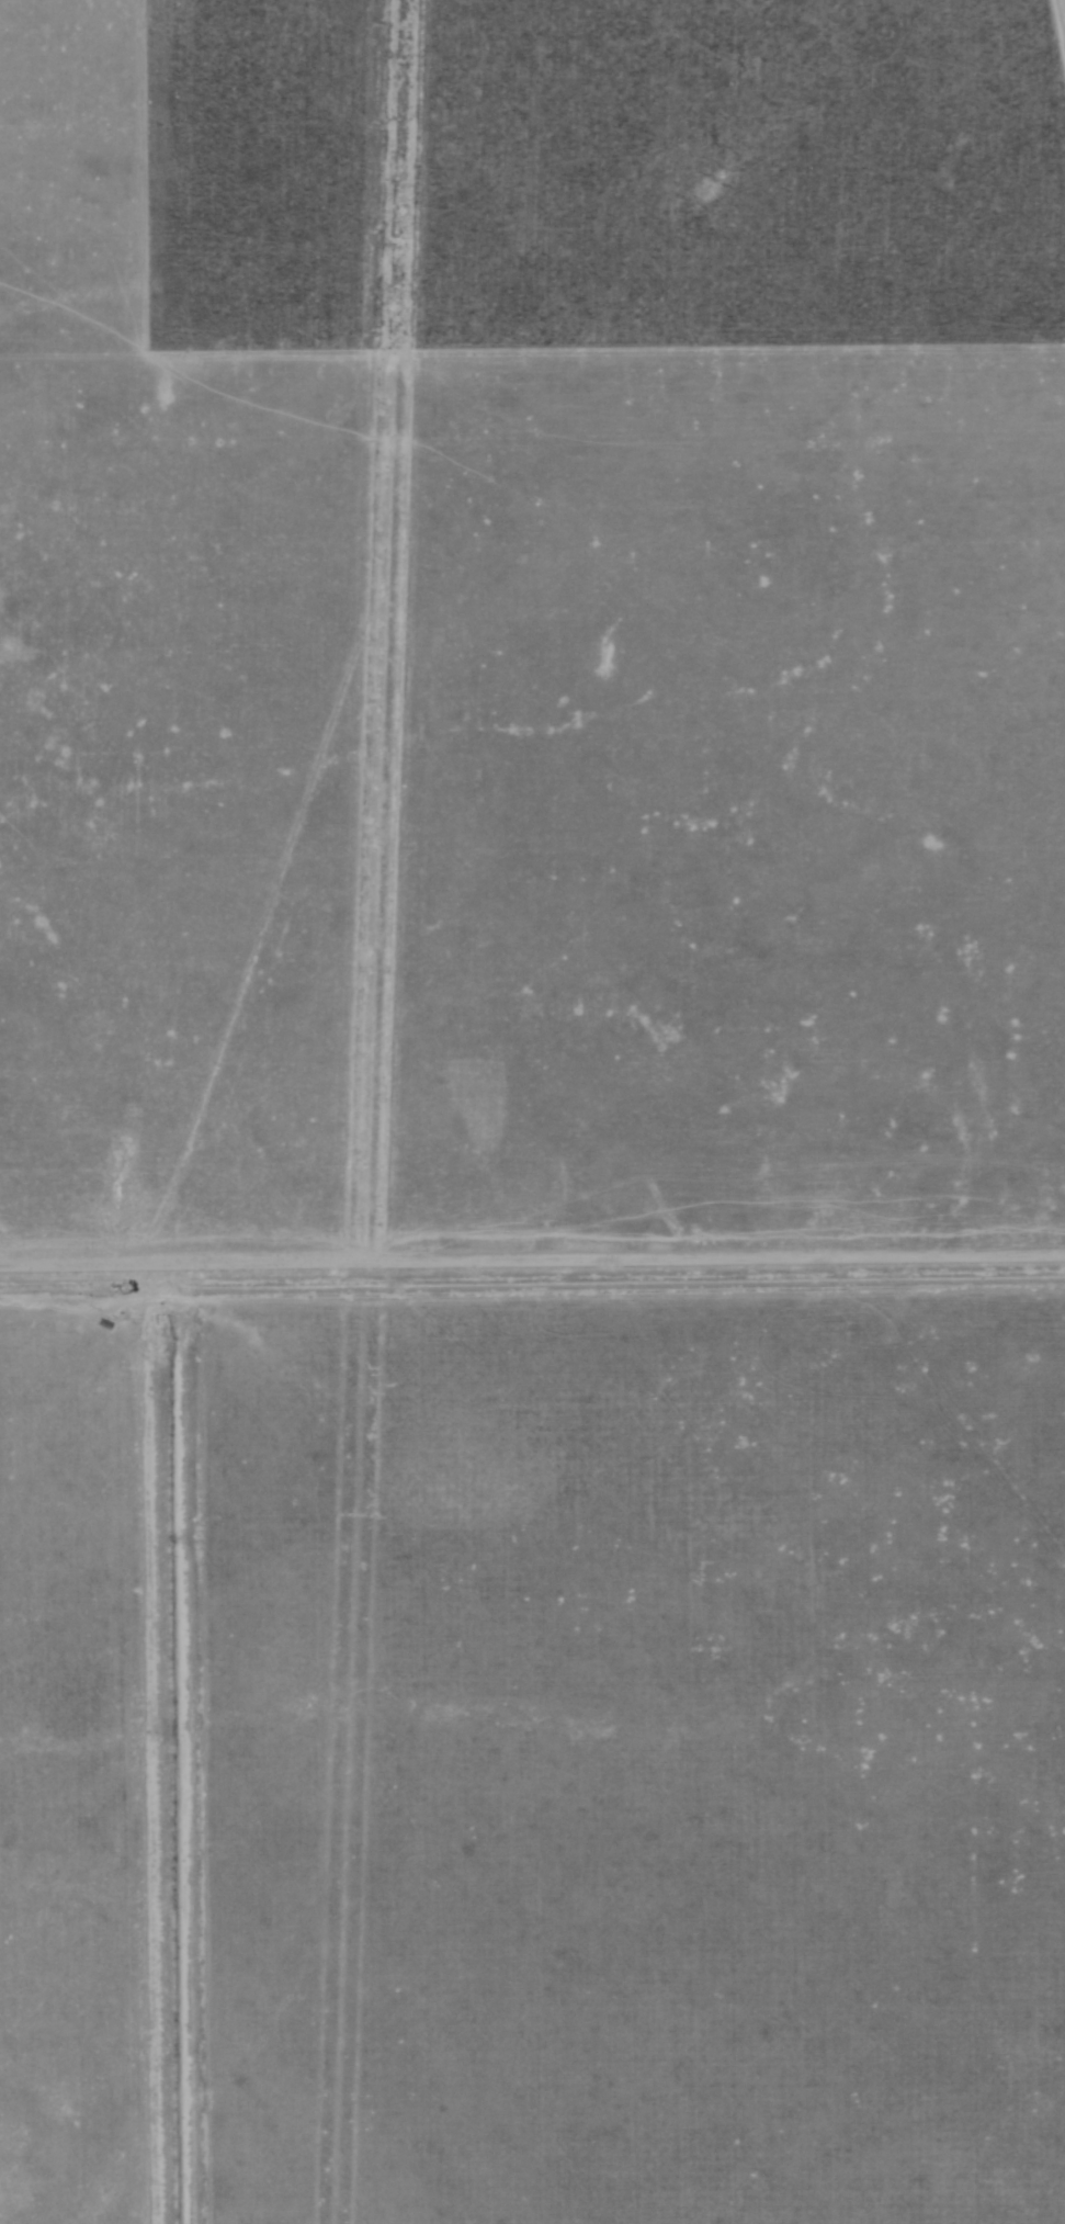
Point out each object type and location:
crop: (532, 1753)

